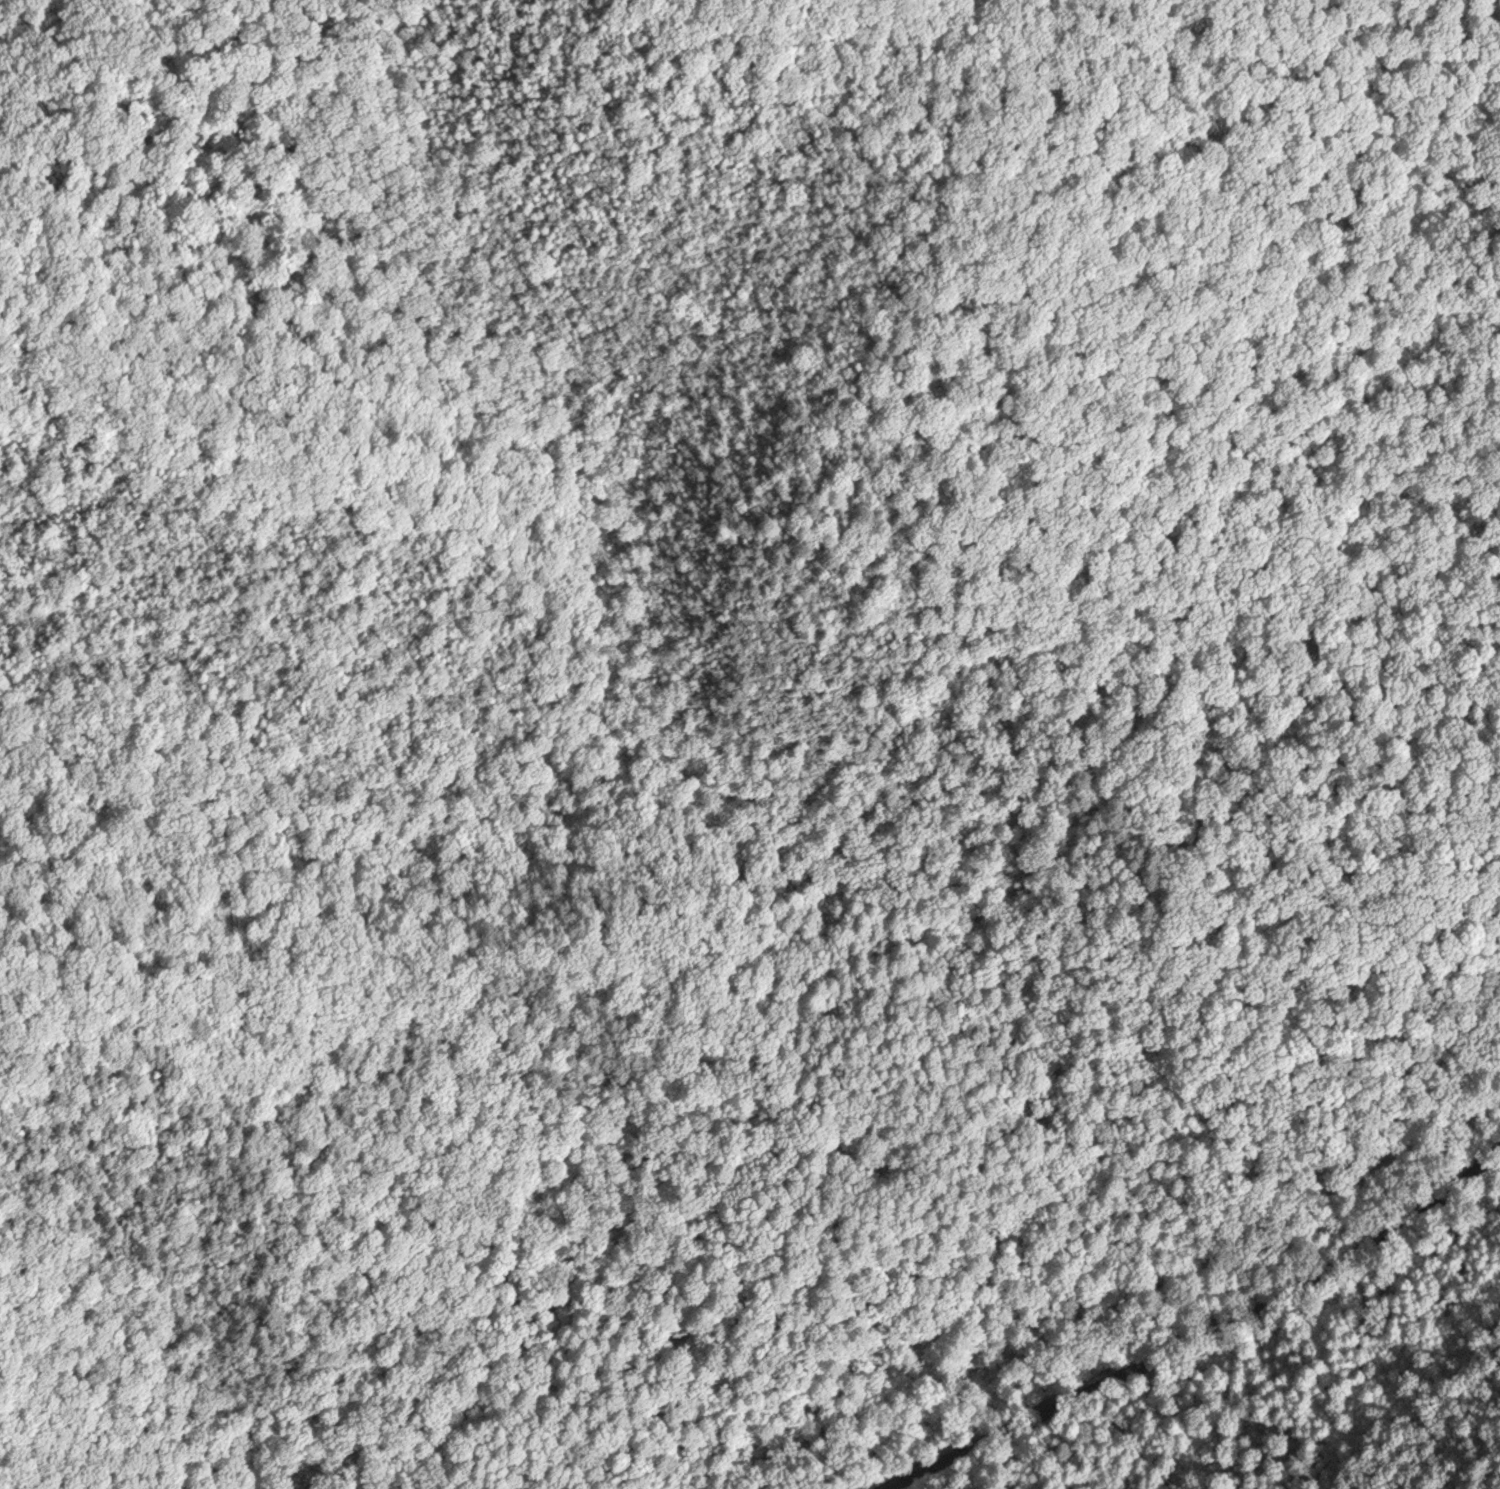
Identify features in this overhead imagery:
road: (1201, 1338)

